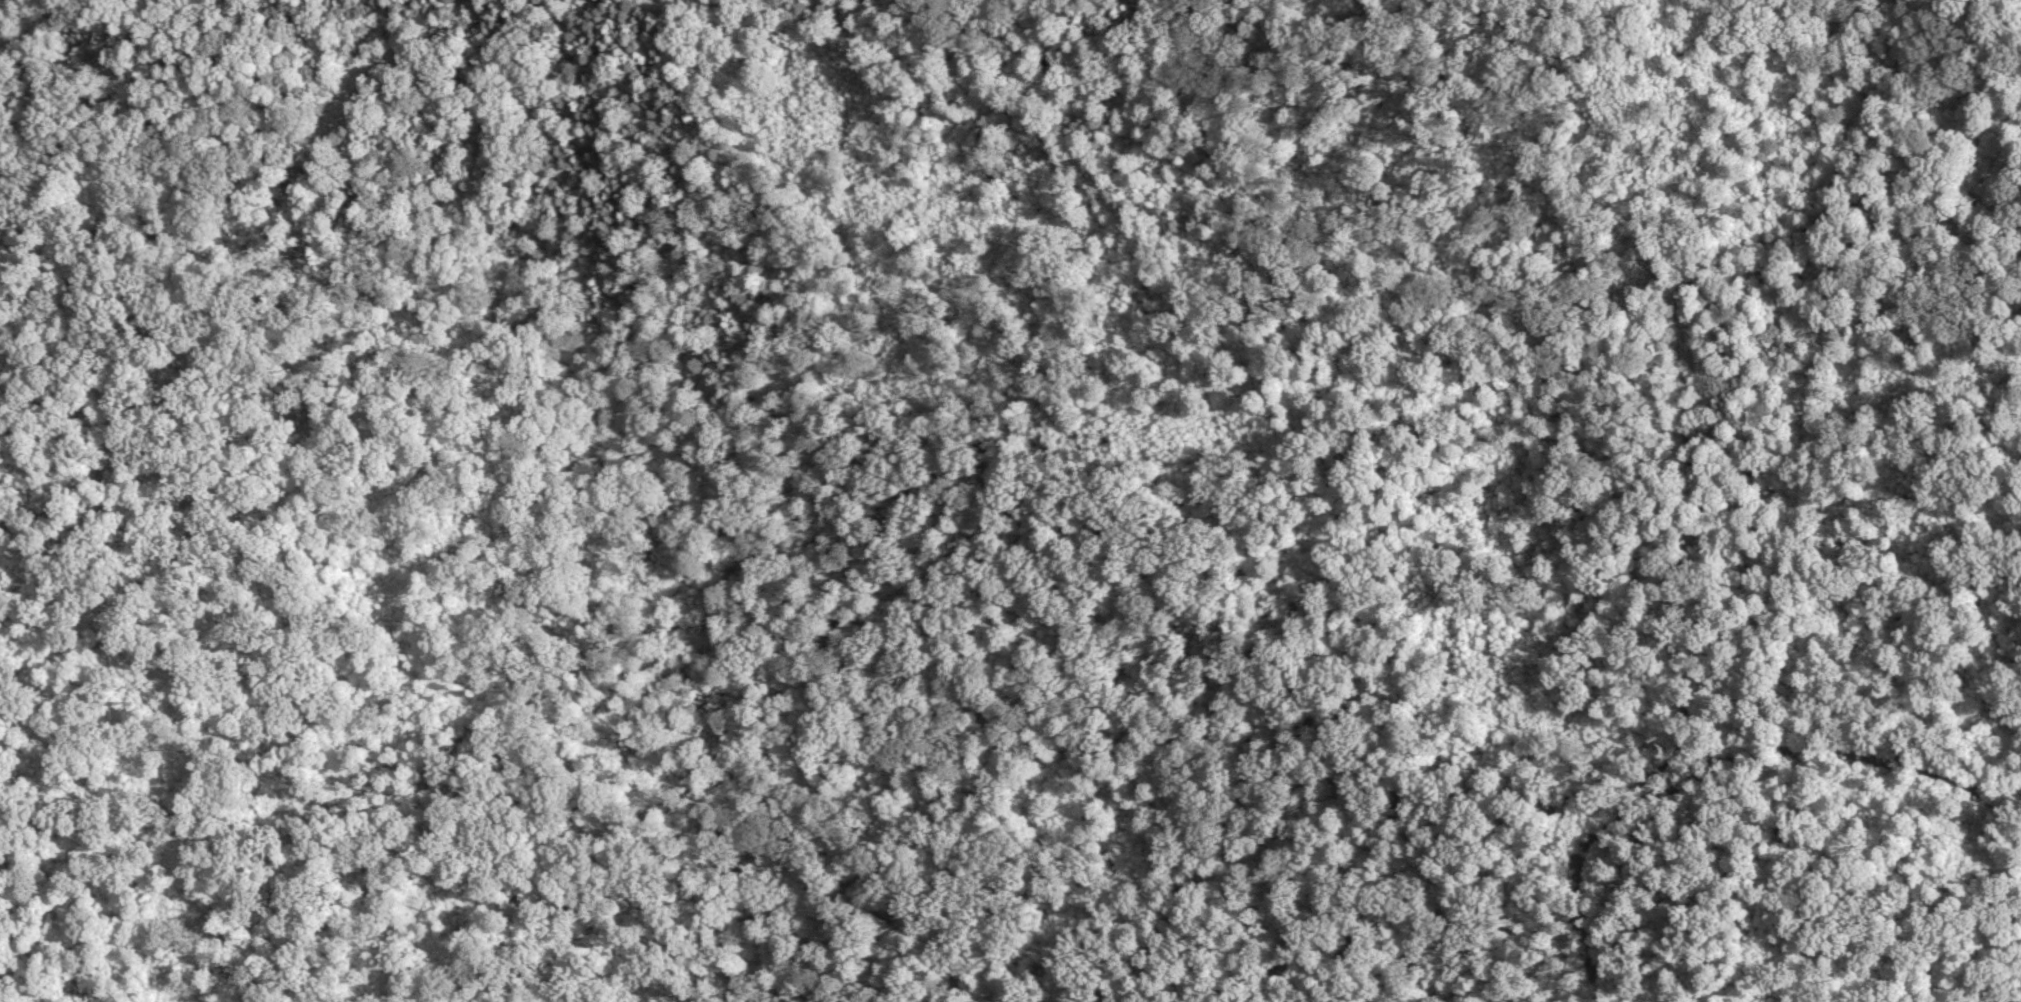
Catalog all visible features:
road: (40, 20)
road: (32, 903)

